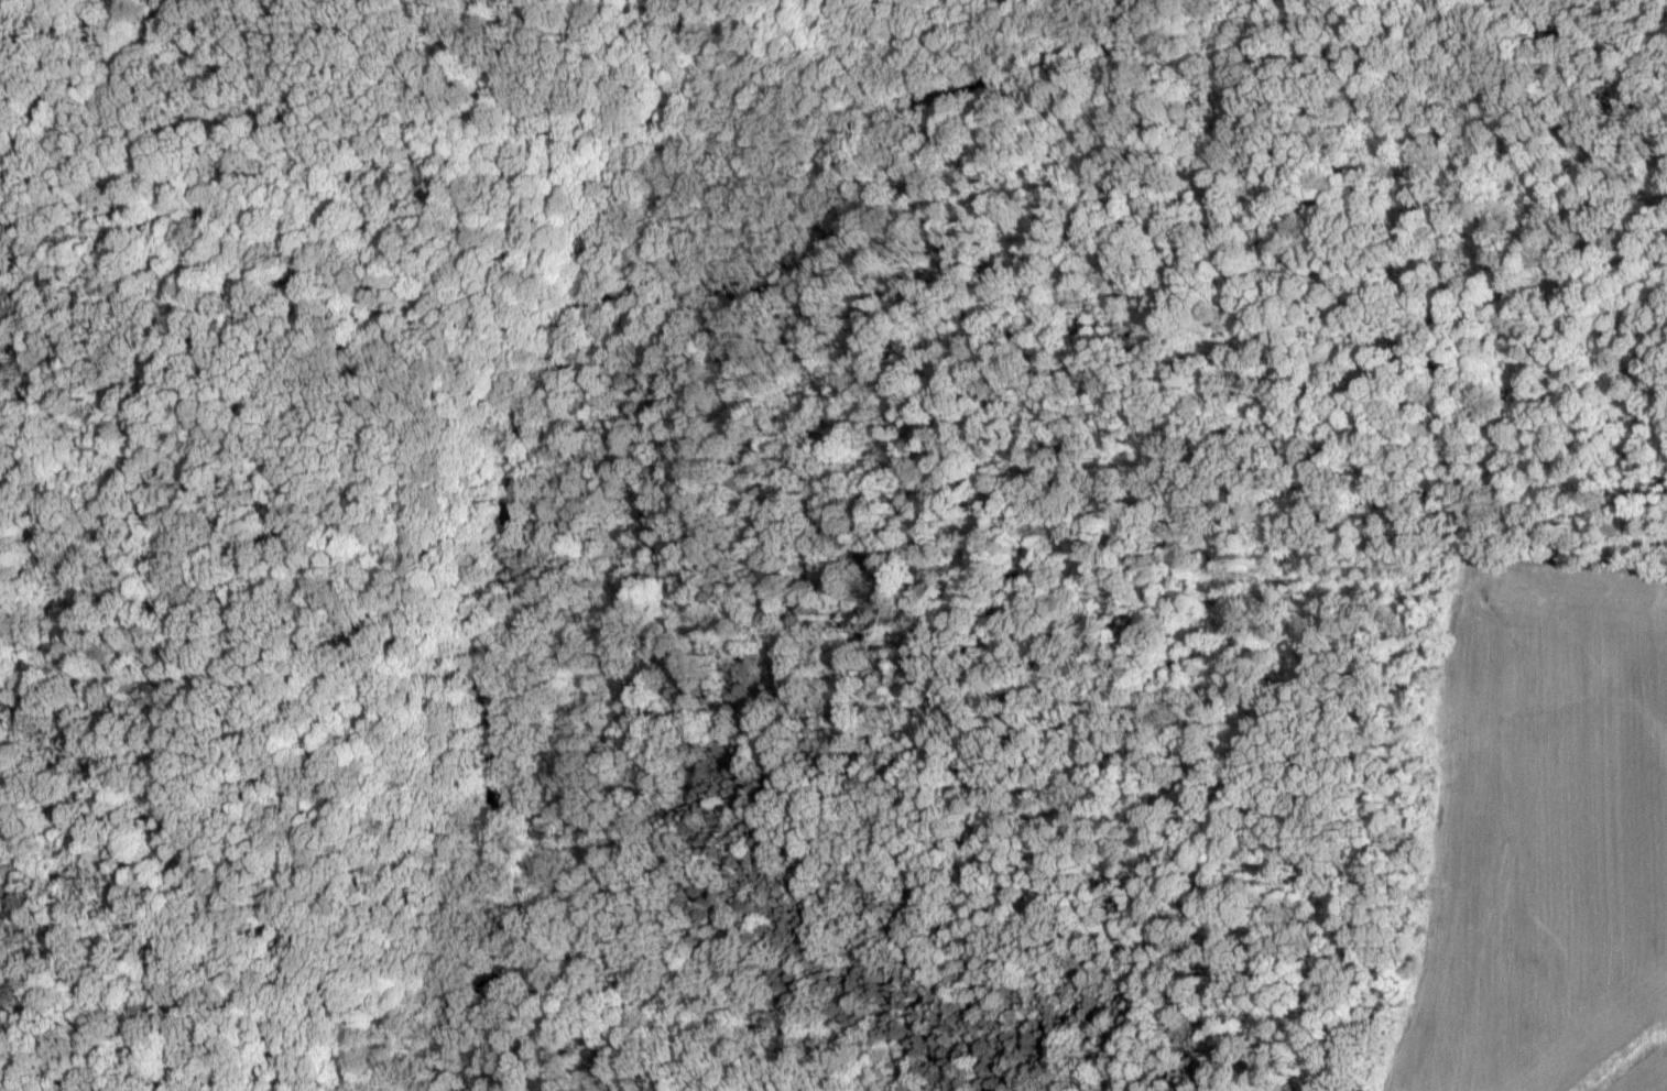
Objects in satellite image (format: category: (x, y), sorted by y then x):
crop: (1529, 838)

